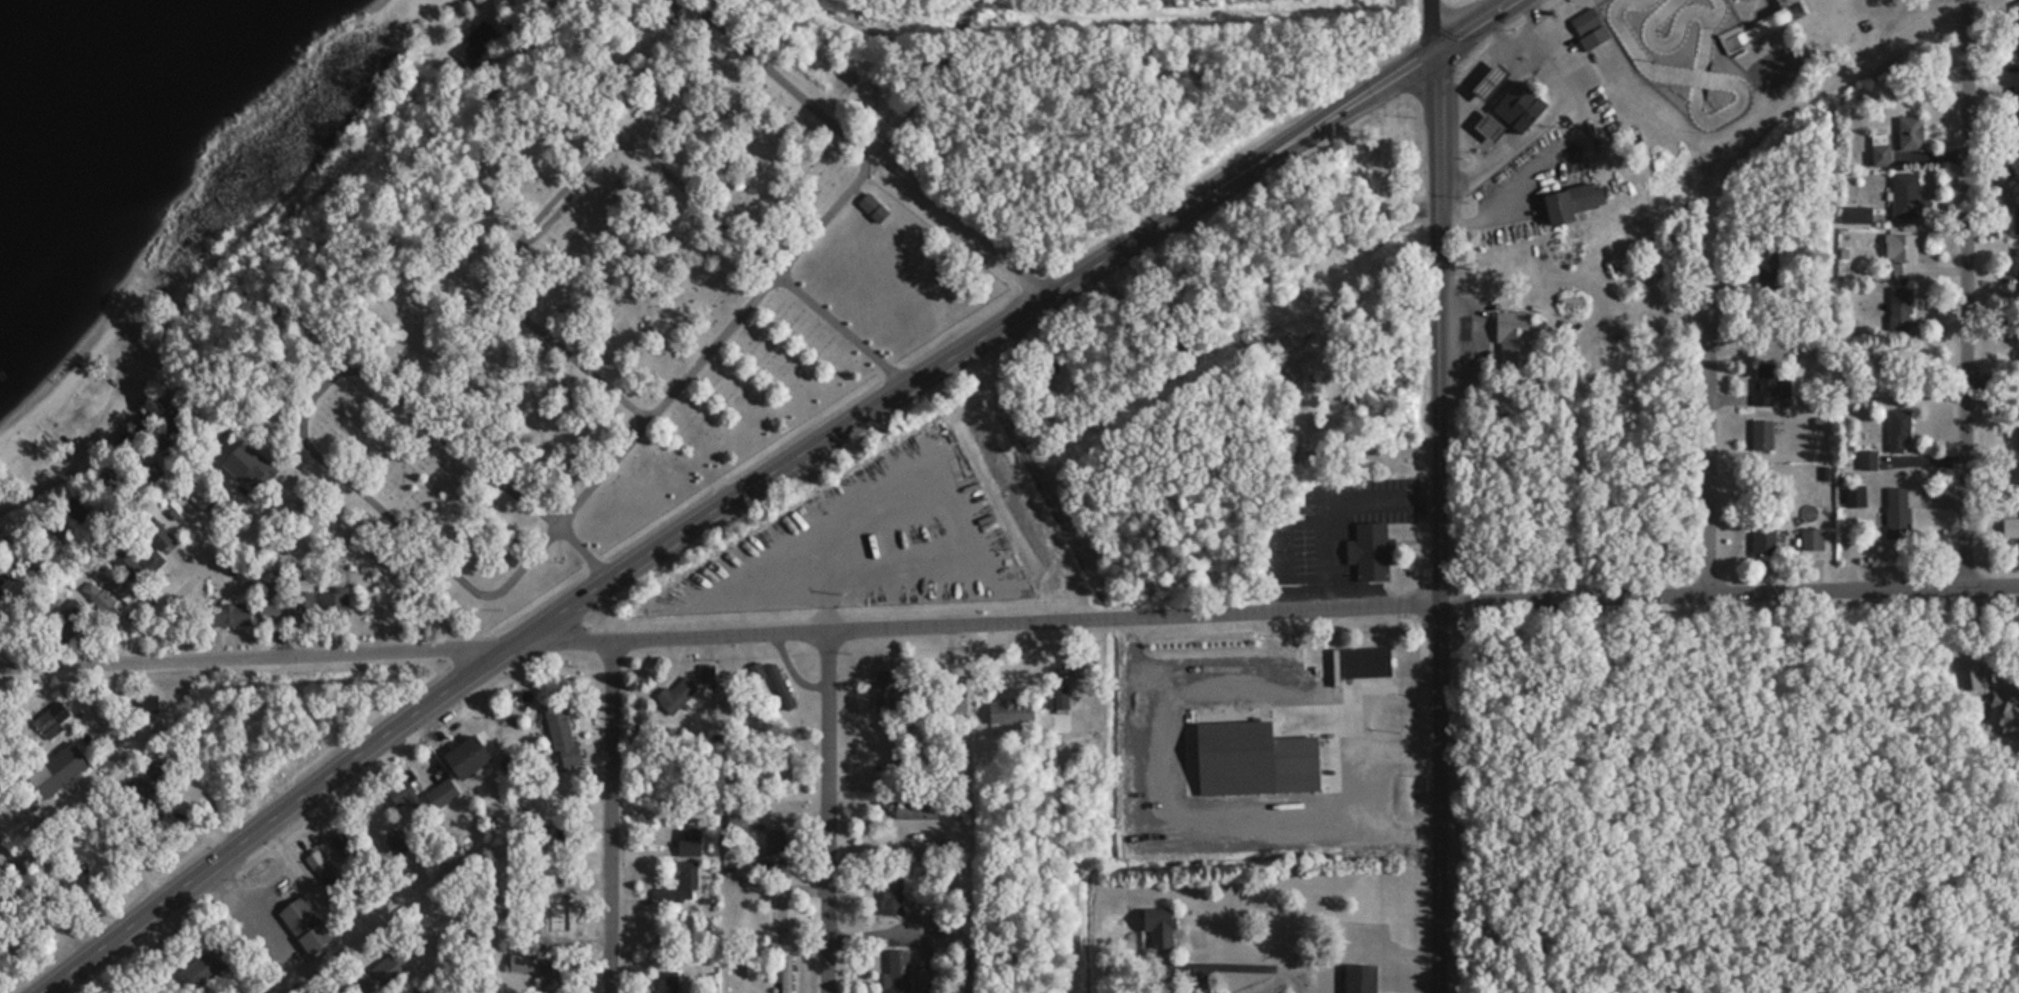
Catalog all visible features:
road: (1455, 4)
building: (1765, 4)
building: (2015, 8)
road: (1434, 24)
building: (1760, 25)
building: (1587, 28)
building: (2014, 45)
building: (1760, 72)
road: (920, 76)
road: (1836, 77)
road: (781, 79)
building: (1485, 81)
building: (1519, 107)
building: (2014, 111)
building: (1484, 127)
building: (1908, 133)
road: (619, 141)
building: (1878, 149)
road: (877, 155)
building: (2015, 160)
building: (1904, 195)
building: (1567, 201)
building: (868, 203)
building: (2016, 221)
road: (969, 223)
building: (1898, 253)
building: (1764, 259)
building: (2015, 265)
road: (1974, 288)
park: (621, 308)
building: (1898, 308)
road: (1019, 319)
building: (1511, 332)
road: (688, 374)
road: (1714, 379)
building: (1767, 385)
road: (318, 391)
building: (1896, 430)
building: (1760, 435)
road: (81, 453)
building: (1866, 459)
building: (254, 464)
road: (262, 493)
building: (1852, 493)
building: (201, 494)
road: (1326, 500)
building: (1895, 512)
road: (1436, 520)
building: (2010, 527)
building: (155, 532)
building: (1810, 538)
building: (1762, 539)
road: (29, 546)
road: (1275, 546)
building: (1365, 550)
road: (588, 552)
road: (378, 557)
building: (130, 561)
road: (201, 580)
building: (116, 585)
building: (96, 595)
building: (301, 606)
building: (270, 611)
road: (32, 615)
building: (225, 615)
road: (1071, 617)
building: (67, 621)
road: (62, 659)
building: (1361, 662)
road: (1364, 683)
building: (774, 685)
building: (886, 691)
building: (676, 695)
building: (145, 708)
building: (2001, 713)
building: (47, 724)
building: (559, 734)
building: (1290, 756)
building: (461, 757)
building: (787, 767)
building: (55, 770)
building: (136, 789)
building: (419, 791)
road: (1330, 791)
building: (911, 808)
road: (828, 809)
road: (288, 814)
road: (612, 814)
building: (688, 842)
building: (773, 843)
building: (546, 847)
building: (918, 850)
building: (682, 888)
building: (1270, 890)
building: (890, 897)
building: (784, 918)
building: (302, 922)
building: (1153, 927)
building: (517, 962)
building: (209, 964)
building: (394, 966)
building: (896, 973)
building: (781, 975)
building: (548, 976)
building: (1357, 979)
building: (666, 982)

